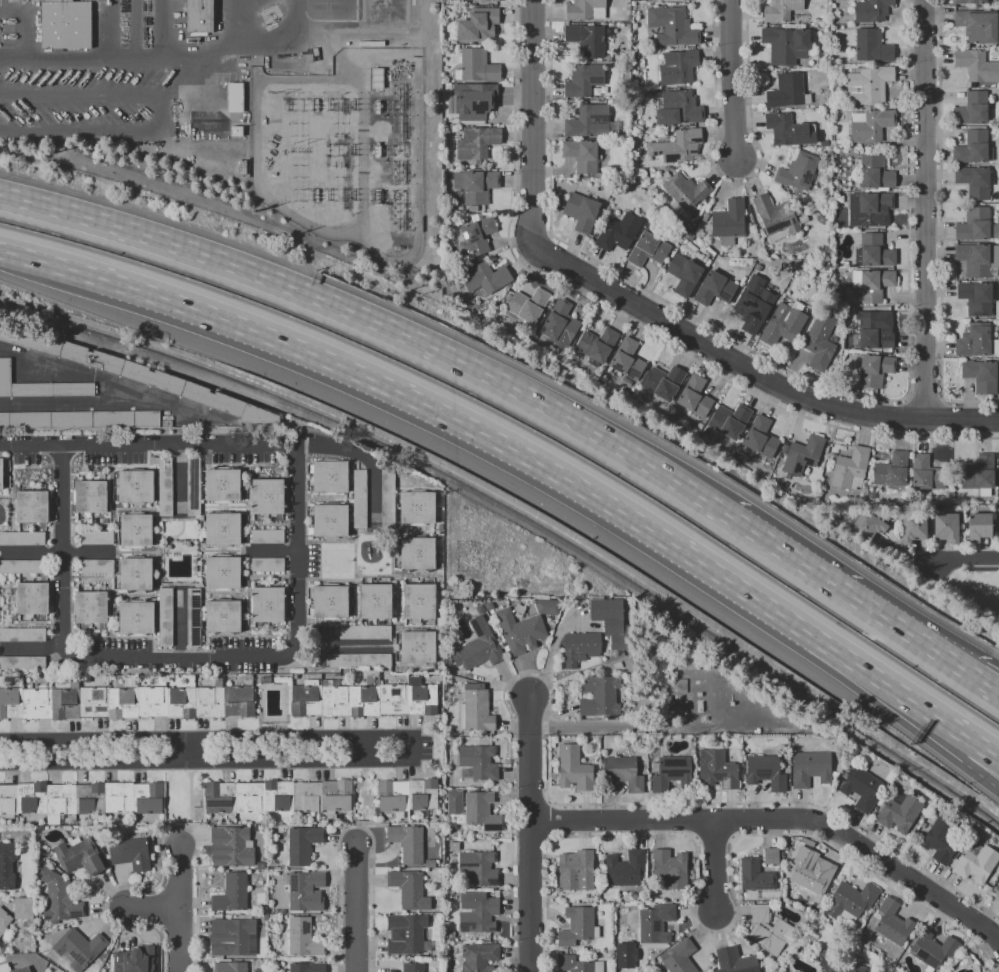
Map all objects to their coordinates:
building: (493, 0)
building: (686, 0)
building: (969, 2)
building: (582, 9)
building: (872, 10)
building: (783, 11)
building: (200, 16)
building: (64, 23)
road: (241, 23)
building: (478, 25)
building: (672, 26)
building: (978, 26)
road: (109, 30)
road: (132, 30)
road: (167, 30)
building: (585, 38)
road: (260, 44)
building: (786, 45)
building: (872, 46)
road: (93, 59)
building: (477, 65)
building: (976, 66)
building: (678, 67)
road: (733, 78)
building: (584, 80)
building: (869, 84)
building: (785, 90)
power tower: (281, 95)
building: (235, 97)
building: (474, 100)
building: (680, 107)
building: (972, 109)
road: (162, 115)
road: (534, 121)
building: (588, 121)
building: (870, 124)
building: (788, 129)
building: (237, 131)
building: (477, 143)
building: (677, 145)
power tower: (303, 146)
building: (972, 147)
power substation: (348, 152)
building: (582, 154)
building: (242, 168)
building: (798, 171)
building: (874, 172)
building: (973, 181)
building: (475, 185)
building: (686, 192)
building: (870, 209)
road: (924, 209)
building: (581, 212)
building: (775, 215)
building: (729, 219)
building: (973, 224)
building: (618, 232)
building: (476, 236)
building: (647, 249)
building: (873, 250)
building: (978, 259)
road: (51, 263)
building: (683, 274)
building: (485, 277)
building: (875, 284)
building: (714, 289)
building: (976, 297)
building: (754, 304)
building: (528, 305)
building: (560, 320)
road: (377, 323)
building: (783, 324)
building: (874, 333)
building: (820, 339)
building: (972, 342)
building: (597, 344)
building: (628, 362)
road: (65, 365)
building: (874, 369)
road: (753, 370)
building: (137, 374)
building: (980, 375)
building: (664, 381)
building: (39, 386)
building: (695, 395)
building: (82, 419)
building: (730, 420)
building: (761, 437)
road: (215, 448)
building: (802, 455)
road: (544, 466)
building: (850, 467)
building: (892, 470)
building: (1, 473)
building: (926, 473)
building: (979, 473)
building: (330, 476)
road: (180, 483)
building: (221, 485)
building: (135, 486)
building: (193, 486)
building: (164, 487)
building: (90, 496)
building: (267, 496)
building: (388, 498)
building: (359, 499)
building: (31, 506)
road: (248, 507)
road: (133, 508)
building: (418, 508)
road: (179, 519)
building: (331, 520)
road: (275, 523)
building: (870, 525)
building: (978, 526)
building: (998, 526)
building: (946, 527)
building: (913, 528)
road: (116, 529)
building: (222, 529)
building: (135, 530)
road: (177, 535)
building: (267, 536)
building: (95, 537)
building: (22, 538)
road: (158, 550)
road: (275, 550)
road: (34, 551)
road: (90, 551)
road: (136, 551)
road: (66, 552)
road: (301, 552)
building: (417, 553)
road: (961, 564)
building: (267, 565)
building: (22, 566)
building: (96, 566)
building: (222, 572)
building: (135, 574)
road: (274, 574)
road: (178, 583)
road: (841, 590)
road: (220, 592)
road: (248, 593)
road: (113, 594)
building: (32, 598)
park: (976, 598)
building: (330, 601)
building: (375, 601)
building: (419, 601)
building: (268, 605)
building: (548, 606)
building: (90, 607)
building: (222, 616)
building: (164, 617)
building: (193, 617)
building: (136, 618)
road: (180, 618)
building: (611, 621)
building: (520, 631)
building: (364, 632)
building: (22, 634)
road: (343, 644)
building: (478, 646)
road: (34, 647)
building: (417, 647)
road: (552, 647)
building: (580, 647)
road: (178, 654)
building: (357, 660)
road: (978, 660)
building: (22, 663)
building: (265, 679)
road: (977, 679)
building: (680, 686)
building: (600, 696)
building: (364, 699)
building: (127, 702)
building: (476, 709)
road: (618, 726)
road: (215, 737)
road: (975, 742)
road: (955, 744)
road: (365, 748)
road: (191, 750)
building: (479, 761)
road: (212, 762)
building: (574, 768)
building: (810, 768)
building: (718, 769)
building: (766, 771)
building: (624, 773)
building: (672, 773)
road: (979, 776)
building: (862, 788)
building: (407, 794)
building: (278, 796)
building: (81, 797)
building: (454, 801)
building: (482, 810)
building: (899, 813)
road: (782, 819)
building: (456, 834)
road: (529, 835)
building: (941, 840)
building: (408, 842)
building: (303, 843)
building: (231, 846)
building: (454, 846)
building: (130, 853)
building: (771, 856)
building: (79, 857)
building: (429, 863)
building: (976, 864)
building: (6, 866)
building: (478, 868)
building: (670, 868)
road: (718, 868)
building: (624, 869)
building: (807, 870)
building: (576, 871)
building: (755, 875)
building: (997, 887)
building: (409, 889)
building: (305, 891)
building: (232, 893)
building: (59, 898)
building: (850, 901)
road: (359, 907)
building: (23, 908)
road: (154, 910)
road: (182, 910)
building: (477, 912)
building: (4, 919)
building: (893, 922)
building: (655, 923)
building: (578, 926)
building: (768, 930)
building: (406, 934)
building: (236, 935)
building: (303, 938)
building: (79, 947)
building: (933, 949)
building: (479, 957)
building: (680, 957)
building: (134, 960)
building: (735, 961)
building: (578, 964)
building: (620, 966)
building: (230, 967)
building: (306, 967)
building: (413, 967)
building: (845, 967)
building: (23, 968)
building: (792, 971)

